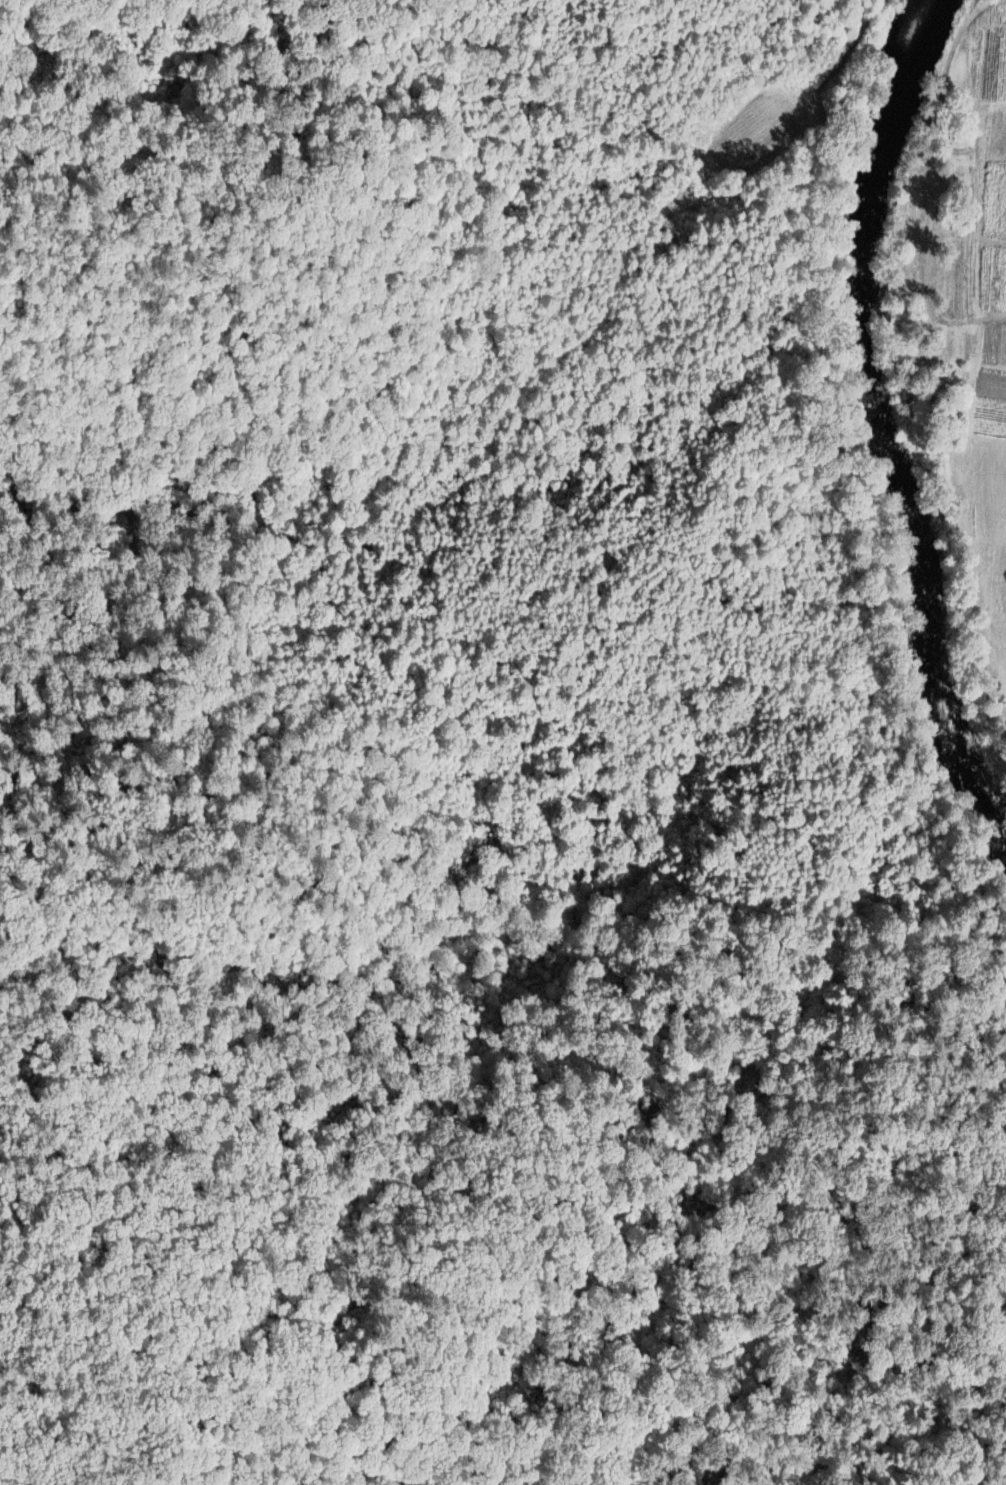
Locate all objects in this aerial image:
river: (883, 164)
river: (920, 586)

